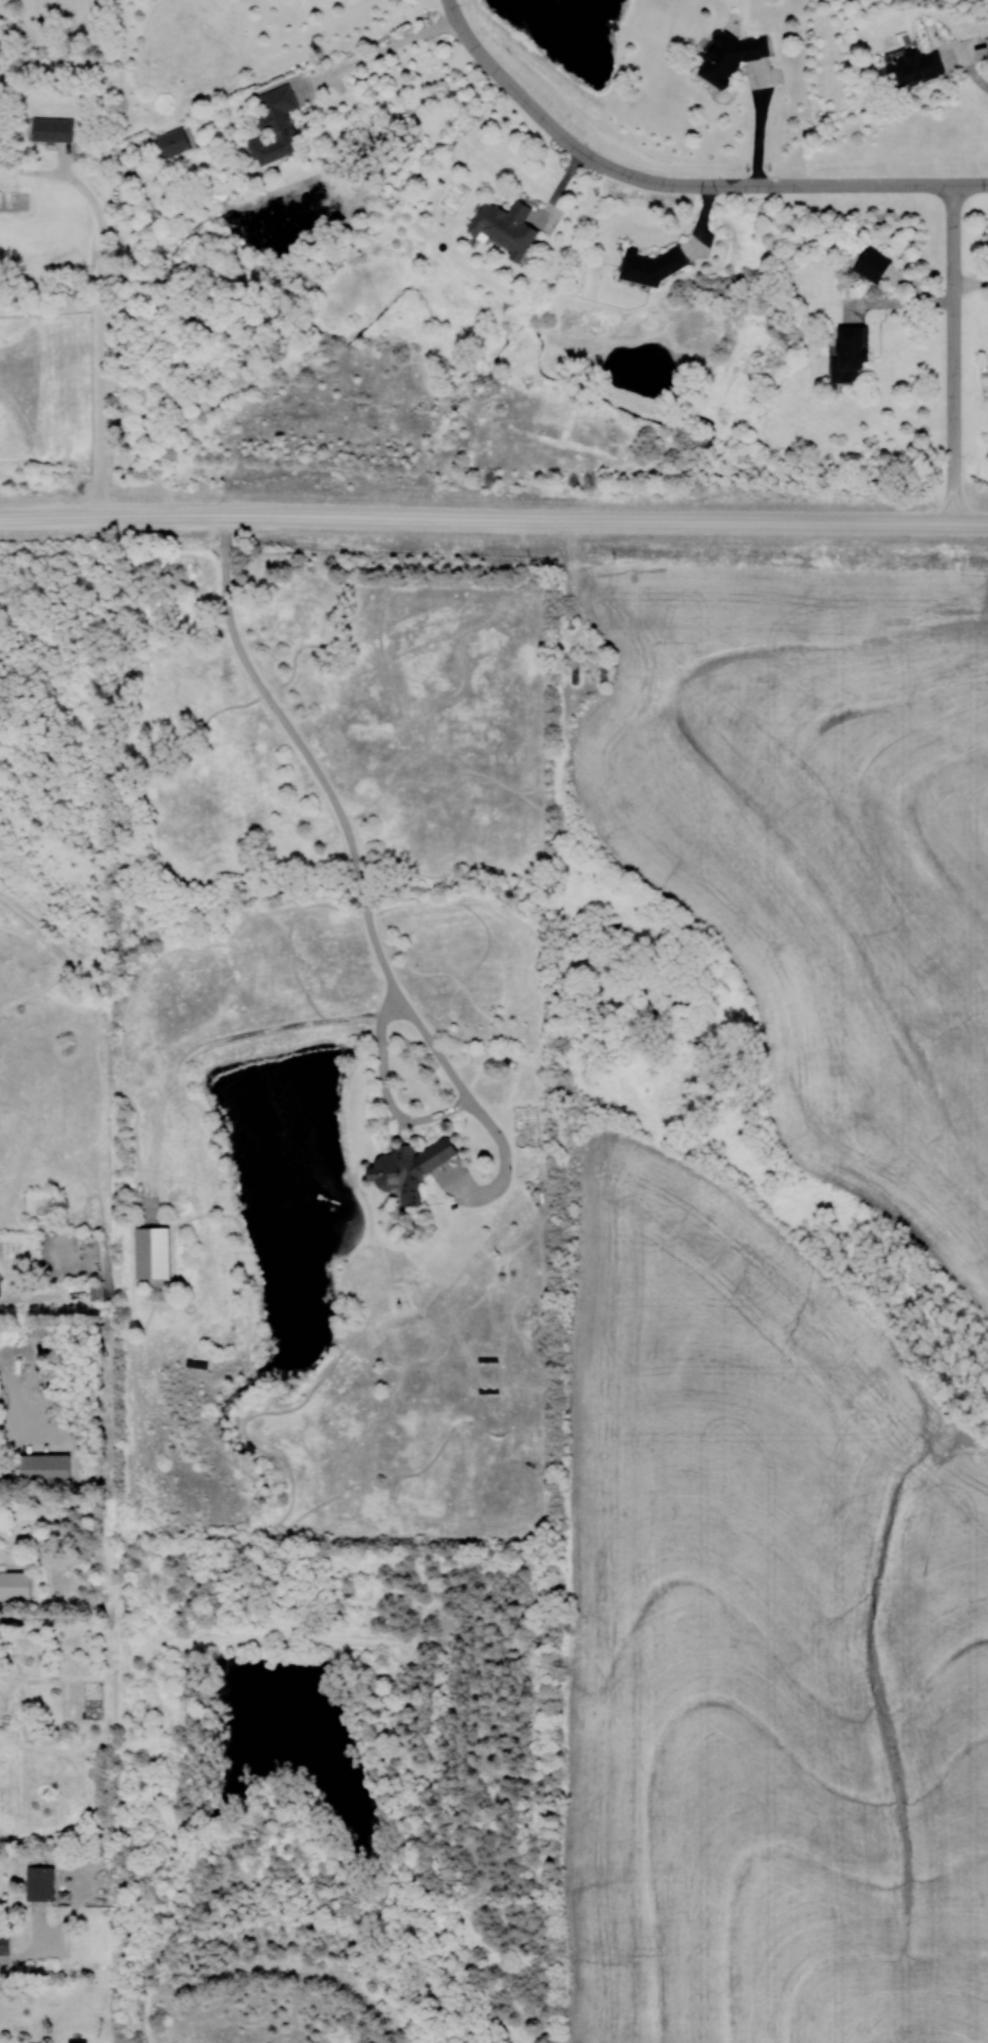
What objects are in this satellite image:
road: (463, 33)
road: (383, 50)
building: (730, 56)
building: (987, 58)
building: (915, 68)
road: (971, 74)
building: (277, 127)
road: (759, 127)
building: (53, 129)
building: (174, 142)
road: (599, 163)
road: (895, 184)
road: (775, 185)
building: (505, 226)
building: (872, 264)
building: (647, 266)
road: (899, 303)
road: (103, 327)
building: (850, 353)
road: (952, 354)
road: (59, 518)
road: (553, 522)
crop: (822, 845)
road: (363, 898)
building: (409, 1167)
building: (153, 1252)
building: (0, 1296)
building: (45, 1468)
building: (2, 1473)
building: (15, 1586)
crop: (764, 1644)
building: (40, 1883)
building: (4, 1945)
building: (76, 2040)

